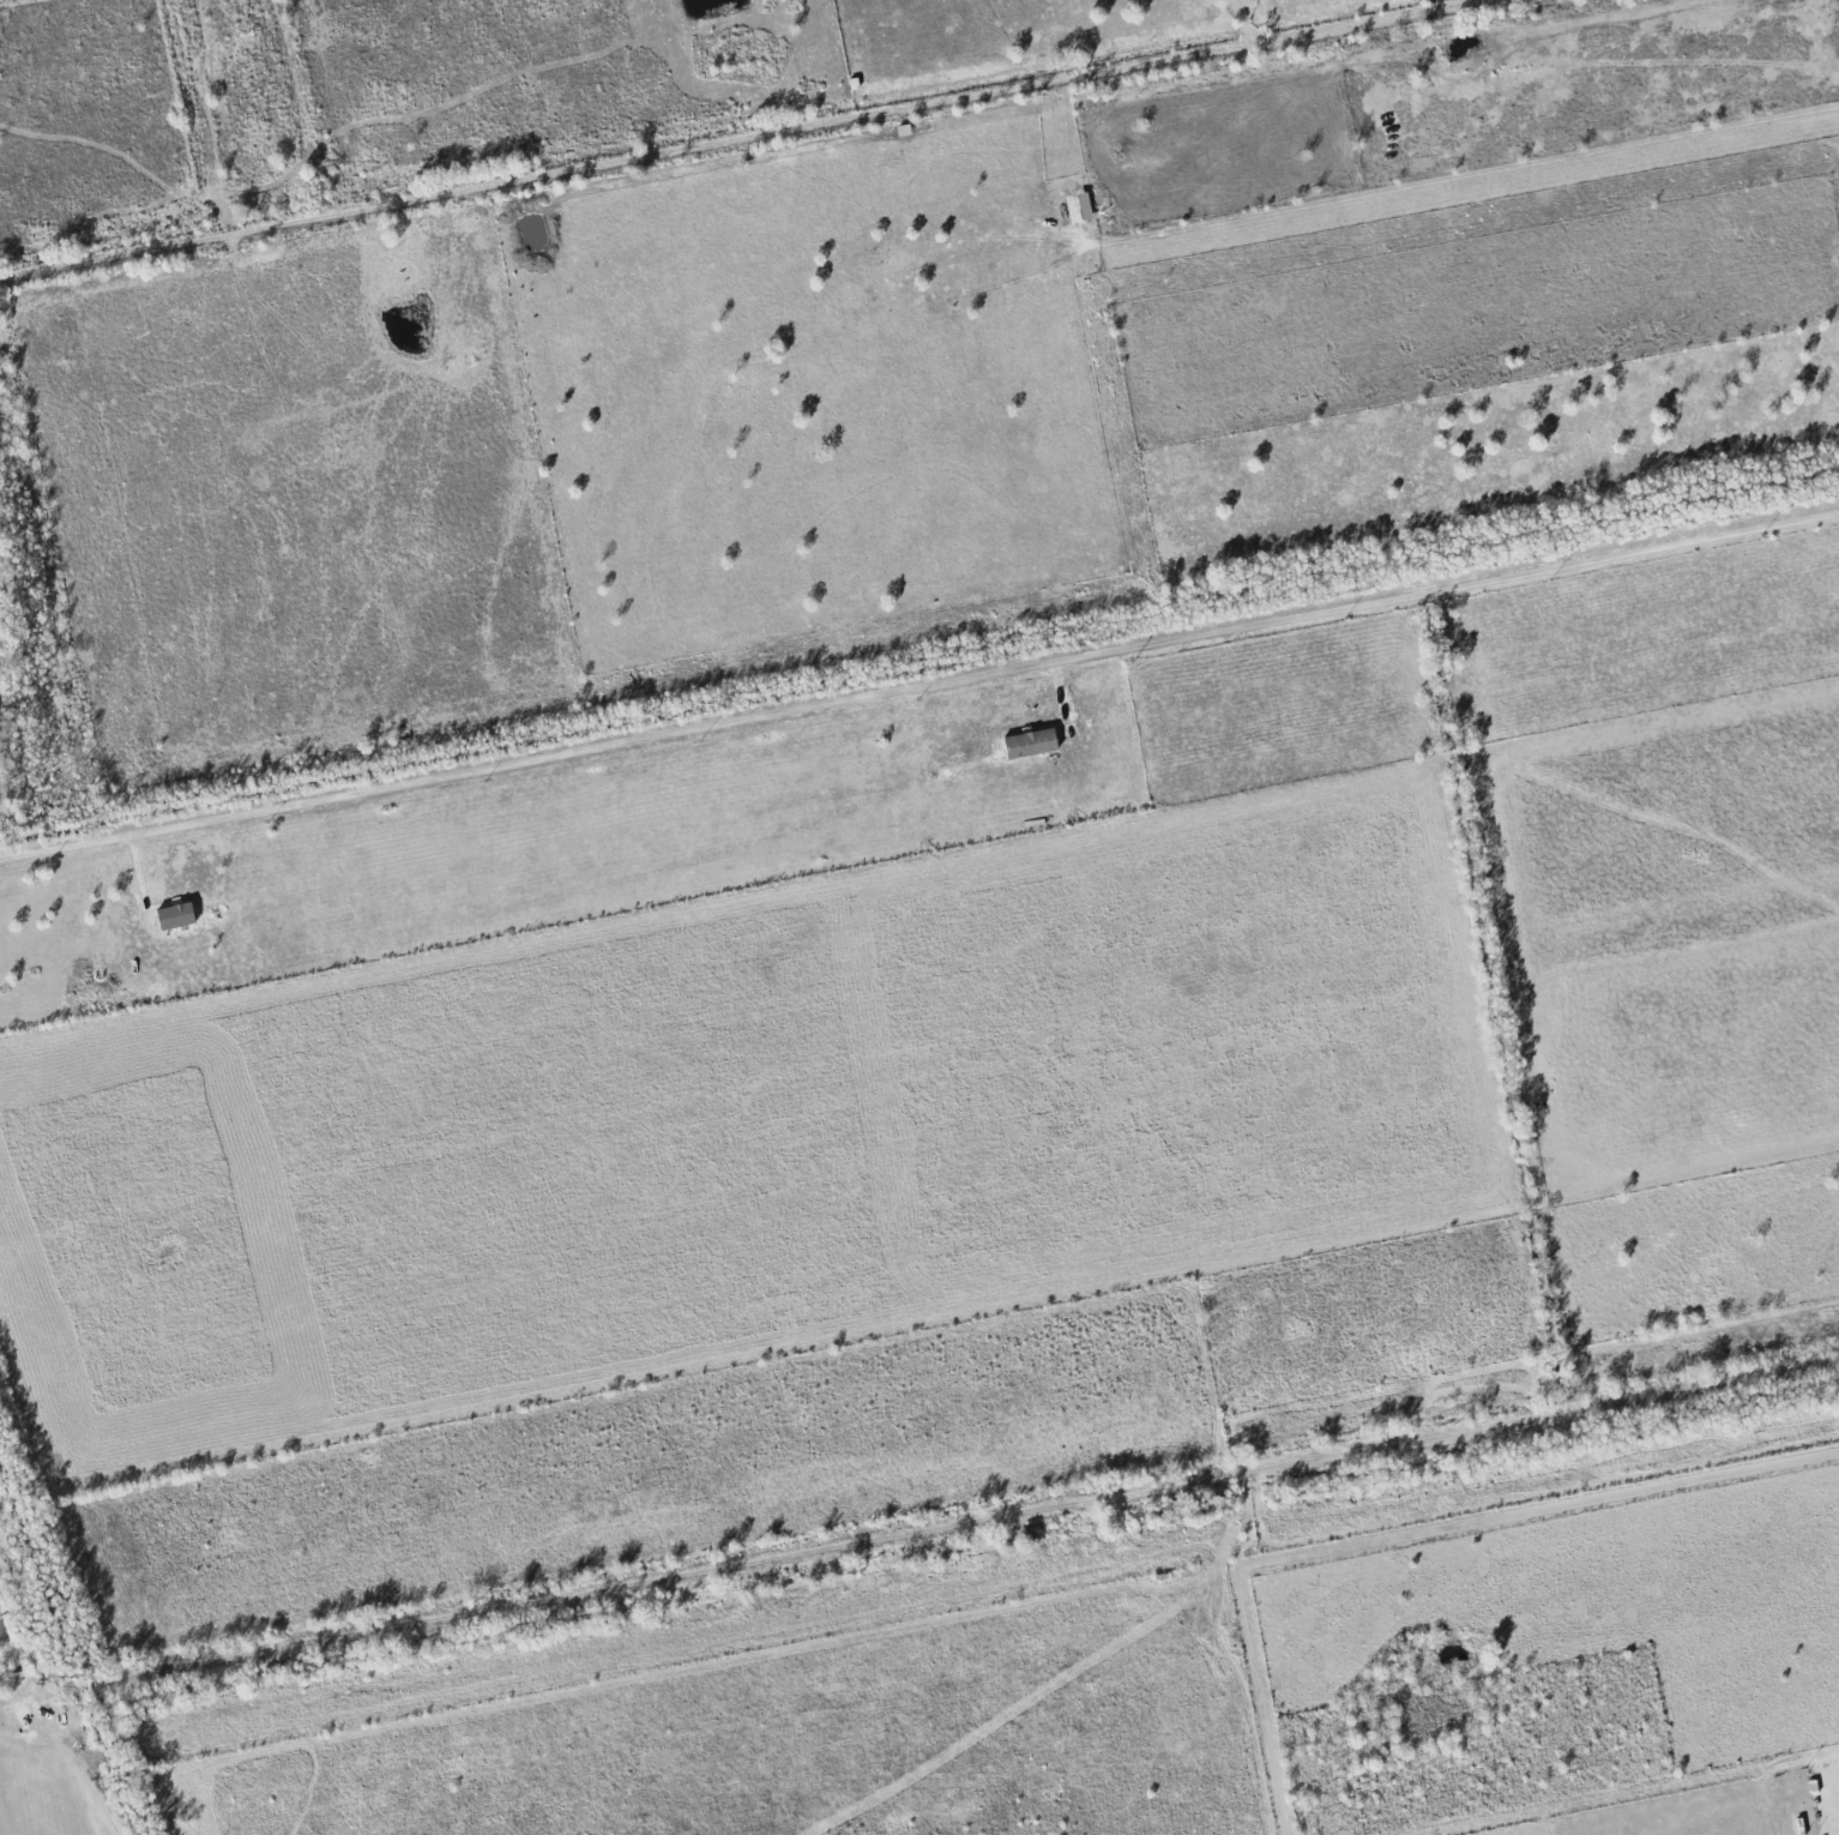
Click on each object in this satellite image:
road: (919, 693)
building: (1032, 742)
building: (177, 916)
road: (1827, 1757)

